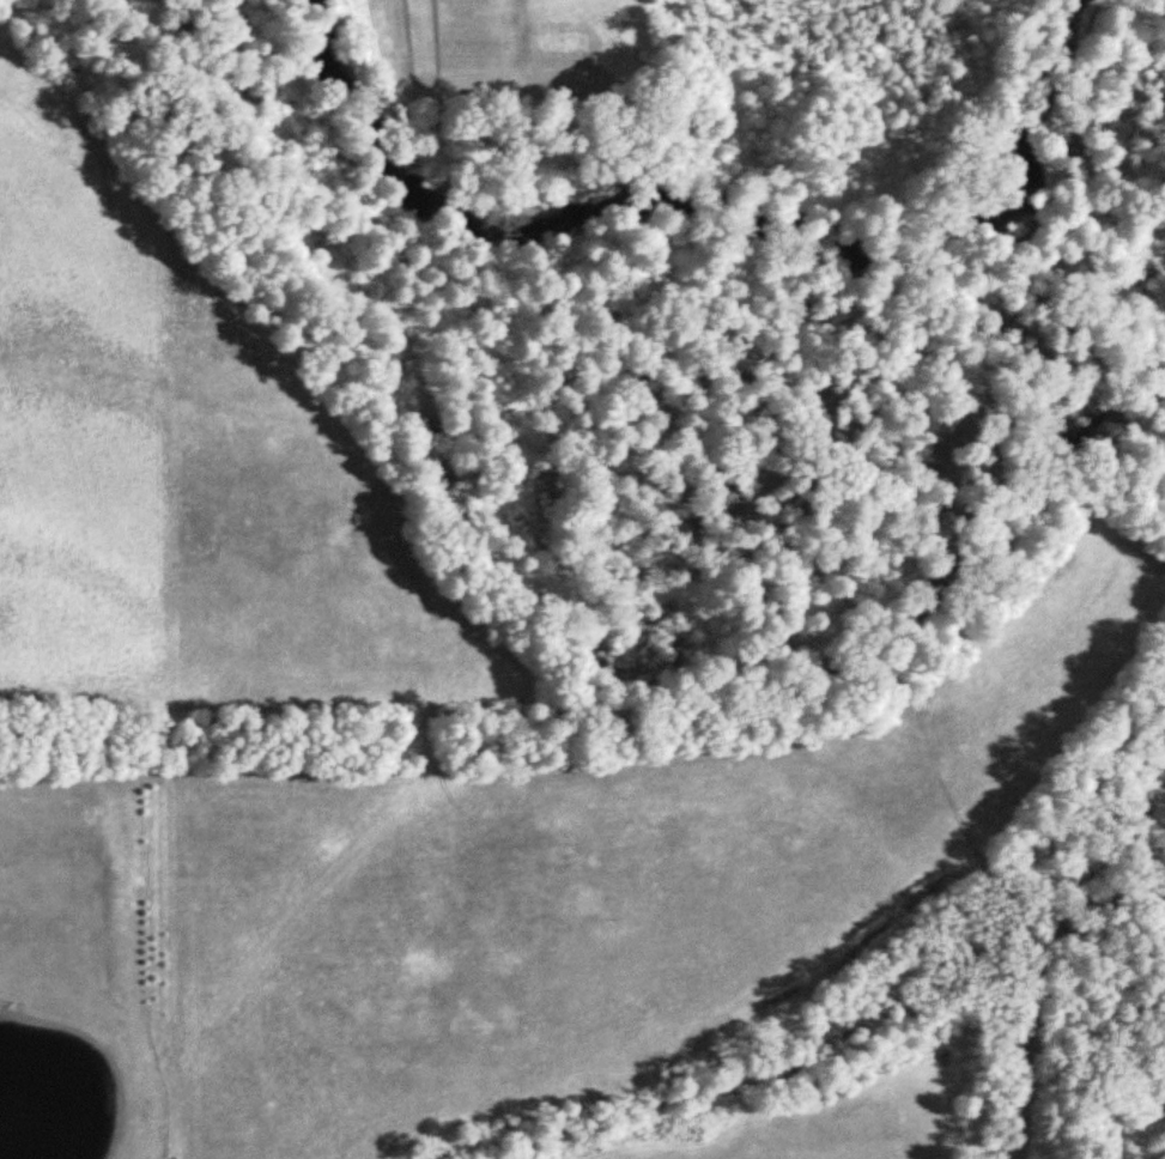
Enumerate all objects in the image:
river: (716, 206)

